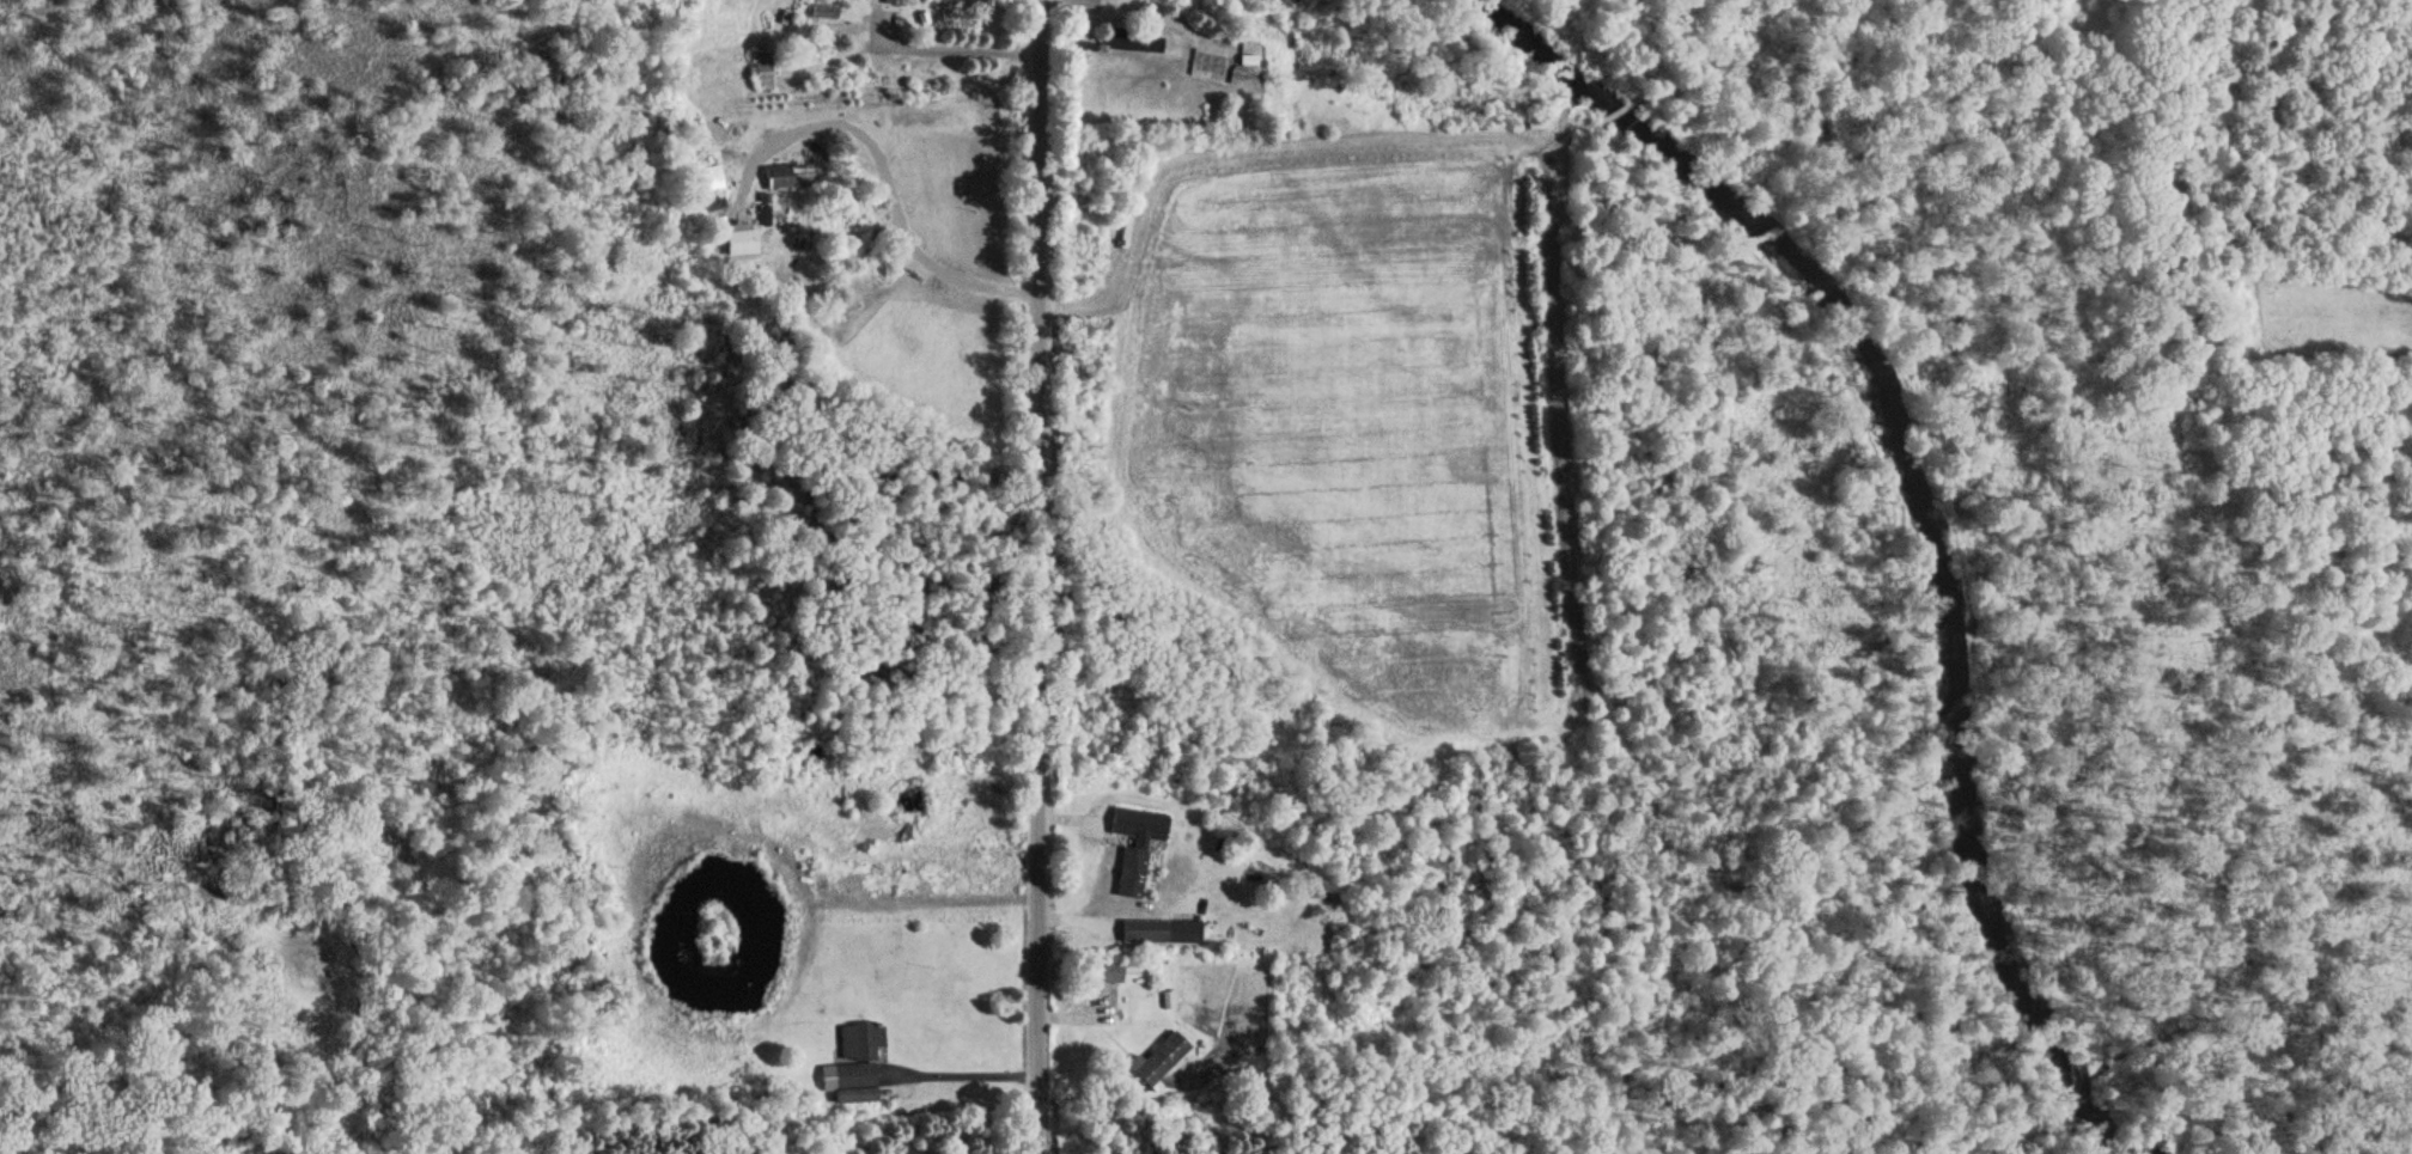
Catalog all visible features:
building: (895, 2)
building: (824, 13)
building: (1132, 44)
road: (949, 48)
building: (763, 74)
building: (1540, 124)
building: (788, 177)
building: (711, 179)
road: (895, 213)
building: (742, 243)
road: (1034, 576)
building: (1131, 874)
building: (887, 883)
building: (1159, 933)
building: (1159, 1060)
building: (855, 1066)

